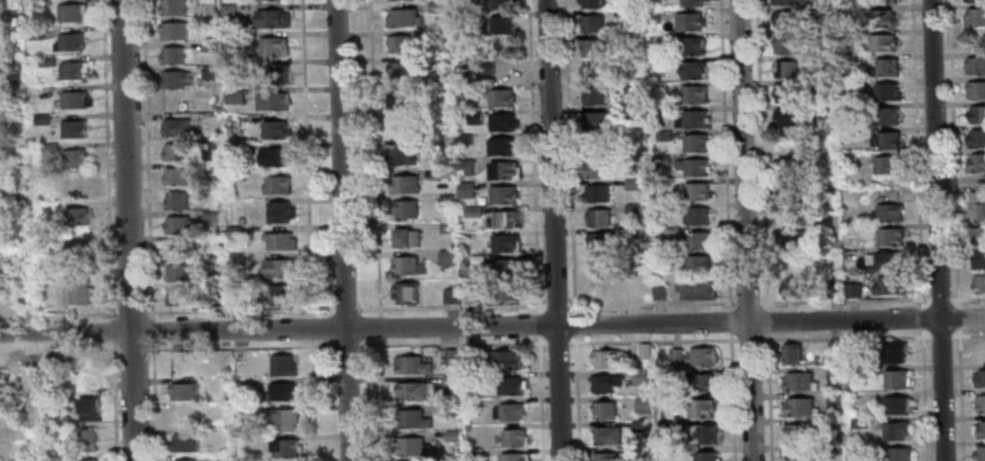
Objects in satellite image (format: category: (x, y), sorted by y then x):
building: (206, 0)
building: (462, 0)
building: (974, 0)
building: (887, 1)
building: (10, 2)
building: (782, 2)
building: (694, 3)
building: (501, 4)
building: (592, 4)
building: (174, 7)
building: (437, 7)
building: (229, 8)
building: (824, 9)
building: (848, 9)
building: (73, 12)
building: (654, 14)
building: (976, 16)
building: (405, 17)
building: (273, 18)
building: (886, 18)
building: (785, 19)
building: (209, 20)
building: (691, 20)
building: (591, 23)
building: (504, 24)
building: (174, 29)
building: (36, 32)
building: (233, 35)
building: (439, 35)
building: (10, 36)
building: (70, 41)
building: (885, 42)
building: (398, 43)
building: (211, 44)
building: (696, 44)
building: (787, 44)
building: (274, 45)
building: (593, 47)
building: (173, 54)
building: (47, 59)
building: (825, 59)
building: (660, 61)
building: (232, 64)
building: (975, 65)
building: (8, 66)
building: (887, 67)
building: (786, 68)
building: (694, 69)
building: (74, 70)
building: (212, 70)
building: (400, 70)
building: (279, 73)
building: (176, 78)
building: (818, 83)
building: (976, 89)
building: (888, 91)
building: (695, 93)
building: (786, 93)
building: (234, 94)
building: (597, 95)
building: (504, 97)
building: (12, 99)
building: (76, 99)
building: (399, 99)
building: (273, 100)
building: (442, 105)
building: (635, 110)
building: (660, 112)
building: (977, 113)
building: (475, 114)
building: (890, 115)
building: (790, 116)
building: (42, 118)
building: (694, 119)
building: (597, 120)
building: (504, 121)
building: (13, 125)
building: (176, 126)
building: (400, 126)
building: (75, 128)
building: (277, 128)
building: (850, 131)
building: (664, 134)
building: (464, 136)
building: (977, 137)
building: (887, 139)
building: (694, 142)
building: (503, 145)
building: (51, 147)
building: (175, 151)
road: (725, 151)
road: (762, 151)
building: (232, 152)
road: (569, 152)
road: (533, 153)
building: (405, 154)
building: (276, 156)
building: (77, 157)
road: (307, 157)
road: (374, 157)
road: (148, 158)
building: (850, 158)
road: (107, 159)
building: (637, 161)
building: (977, 162)
building: (888, 164)
building: (790, 165)
building: (465, 166)
building: (693, 166)
building: (597, 168)
building: (506, 170)
building: (445, 171)
building: (179, 175)
building: (237, 175)
building: (44, 176)
building: (6, 180)
building: (405, 183)
building: (634, 183)
building: (278, 184)
building: (74, 187)
building: (467, 189)
building: (699, 191)
building: (597, 192)
building: (505, 194)
building: (178, 199)
building: (447, 199)
building: (978, 205)
building: (634, 207)
building: (666, 207)
building: (405, 208)
building: (473, 210)
building: (281, 211)
building: (890, 212)
building: (212, 215)
building: (698, 215)
building: (600, 216)
building: (78, 217)
building: (508, 218)
building: (242, 219)
building: (176, 224)
building: (448, 226)
road: (127, 230)
road: (340, 230)
road: (553, 230)
road: (746, 230)
road: (920, 230)
road: (936, 230)
road: (956, 230)
building: (235, 231)
building: (622, 231)
building: (671, 232)
building: (980, 235)
building: (407, 236)
building: (891, 236)
building: (13, 238)
building: (700, 239)
building: (280, 240)
building: (793, 240)
building: (598, 241)
building: (505, 242)
building: (181, 247)
building: (79, 252)
building: (448, 257)
building: (661, 259)
building: (979, 259)
building: (236, 260)
building: (885, 260)
building: (700, 263)
building: (17, 264)
building: (409, 264)
building: (507, 265)
building: (281, 267)
building: (181, 272)
building: (210, 273)
building: (979, 282)
building: (889, 284)
building: (17, 285)
building: (603, 287)
building: (697, 288)
building: (793, 288)
building: (80, 289)
building: (643, 289)
building: (854, 289)
building: (508, 290)
building: (660, 291)
building: (406, 292)
building: (451, 294)
building: (467, 294)
building: (282, 295)
building: (176, 296)
road: (968, 298)
building: (235, 299)
road: (940, 299)
road: (847, 301)
road: (747, 303)
road: (652, 304)
road: (556, 305)
road: (448, 307)
road: (345, 308)
road: (240, 310)
road: (132, 312)
road: (58, 314)
road: (729, 321)
road: (766, 321)
road: (539, 323)
road: (575, 323)
road: (492, 324)
road: (379, 326)
road: (312, 328)
road: (153, 329)
road: (112, 330)
road: (941, 335)
road: (968, 335)
road: (849, 337)
road: (749, 339)
road: (653, 340)
road: (557, 341)
road: (448, 343)
road: (133, 346)
road: (237, 346)
road: (342, 346)
road: (58, 348)
building: (835, 349)
building: (851, 349)
building: (644, 351)
building: (898, 352)
building: (793, 353)
building: (468, 357)
building: (450, 358)
building: (695, 358)
building: (604, 360)
building: (506, 361)
building: (282, 366)
building: (411, 366)
building: (856, 373)
building: (834, 375)
building: (979, 377)
building: (898, 378)
building: (640, 379)
building: (798, 379)
building: (450, 381)
building: (700, 384)
building: (89, 385)
building: (607, 385)
building: (510, 387)
building: (183, 392)
building: (410, 392)
building: (282, 393)
road: (381, 399)
road: (155, 400)
road: (314, 400)
road: (732, 400)
road: (769, 400)
road: (114, 401)
road: (540, 401)
road: (576, 401)
building: (835, 401)
building: (980, 402)
building: (472, 403)
building: (49, 404)
building: (895, 404)
building: (644, 405)
building: (799, 406)
building: (700, 409)
building: (90, 410)
building: (511, 412)
building: (602, 412)
building: (184, 417)
building: (411, 420)
building: (285, 421)
building: (859, 423)
building: (638, 426)
building: (467, 427)
building: (664, 427)
building: (980, 428)
building: (896, 430)
building: (797, 432)
building: (707, 435)
building: (452, 436)
building: (607, 436)
building: (513, 438)
building: (88, 440)
building: (185, 443)
building: (412, 447)
building: (285, 449)
building: (858, 450)
building: (980, 453)
building: (899, 454)
building: (474, 455)
building: (799, 455)
building: (706, 456)
building: (607, 457)
building: (513, 458)
building: (88, 460)
building: (184, 460)
building: (453, 460)

